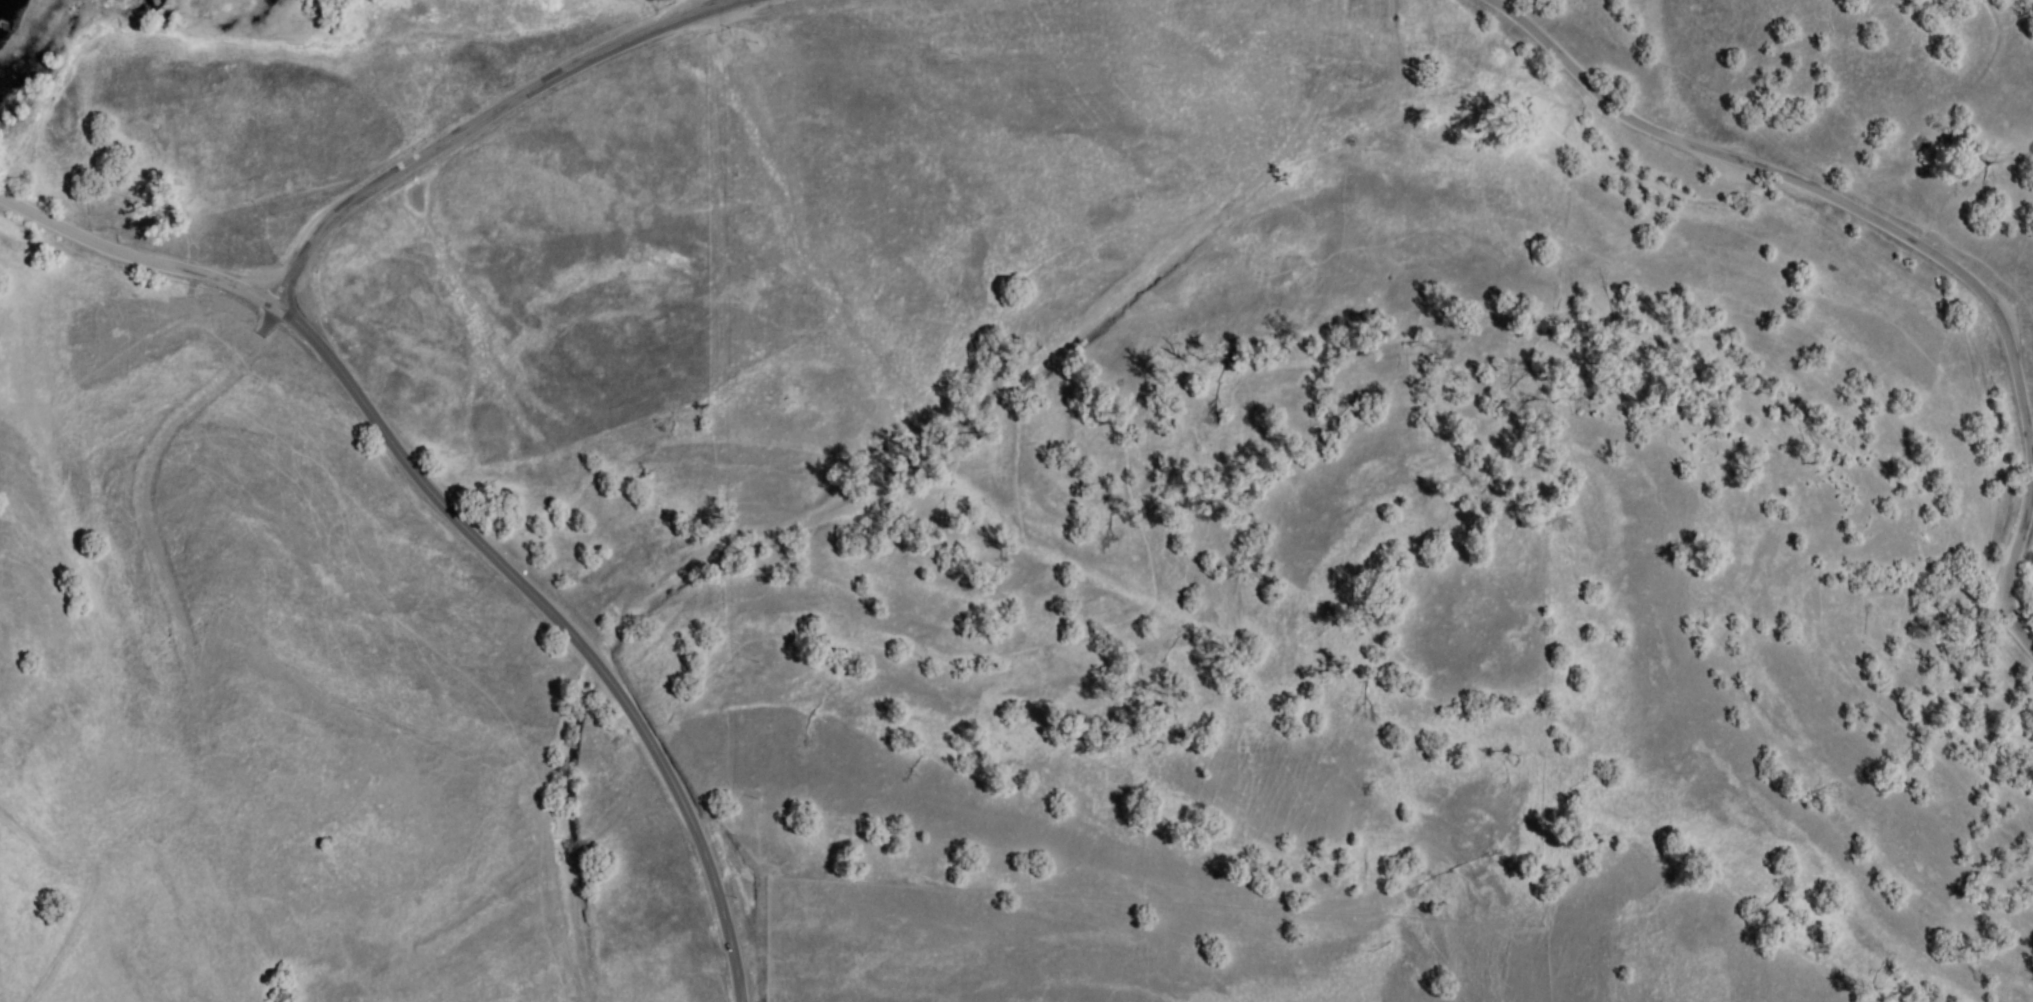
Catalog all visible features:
road: (487, 118)
road: (1811, 189)
road: (135, 260)
road: (2010, 574)
road: (560, 623)

